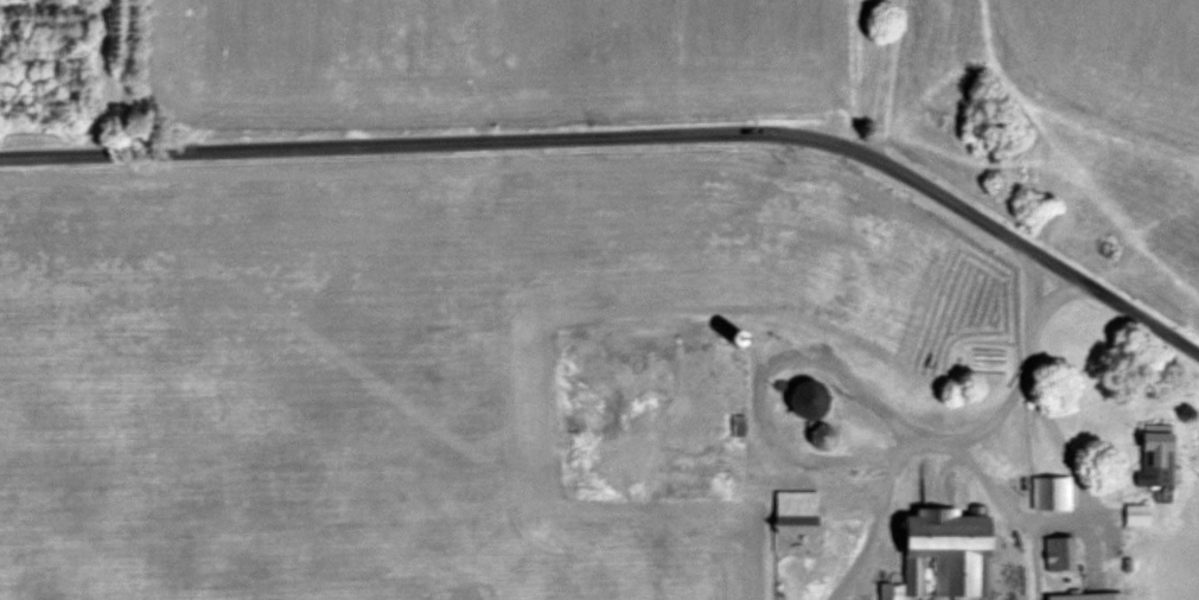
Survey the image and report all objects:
road: (128, 76)
road: (889, 78)
road: (627, 140)
road: (1061, 300)
road: (795, 339)
building: (662, 362)
building: (735, 395)
building: (811, 406)
building: (702, 426)
building: (824, 434)
building: (1160, 457)
road: (1079, 467)
building: (1054, 492)
building: (801, 511)
building: (1140, 513)
road: (870, 531)
building: (949, 555)
building: (1064, 561)

